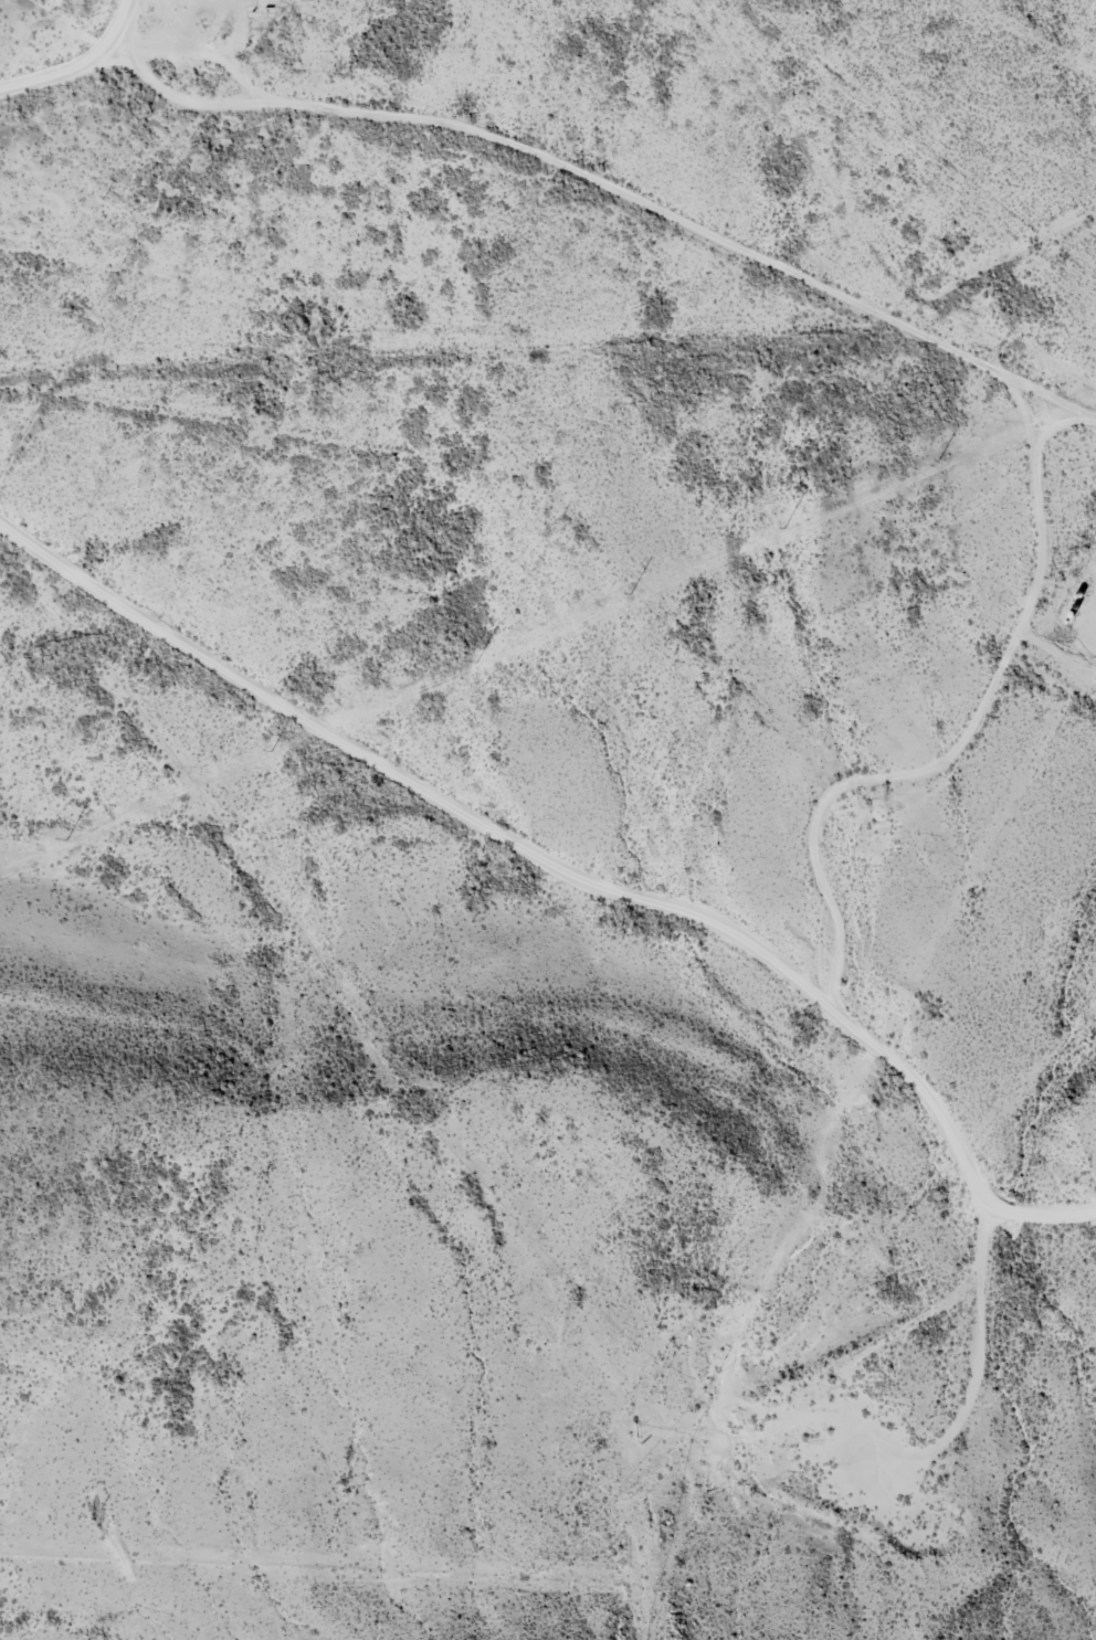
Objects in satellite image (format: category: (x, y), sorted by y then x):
road: (75, 92)
power tower: (937, 462)
power tower: (782, 529)
power tower: (629, 595)
power tower: (474, 664)
road: (903, 743)
power tower: (270, 752)
power tower: (65, 840)
road: (558, 877)

